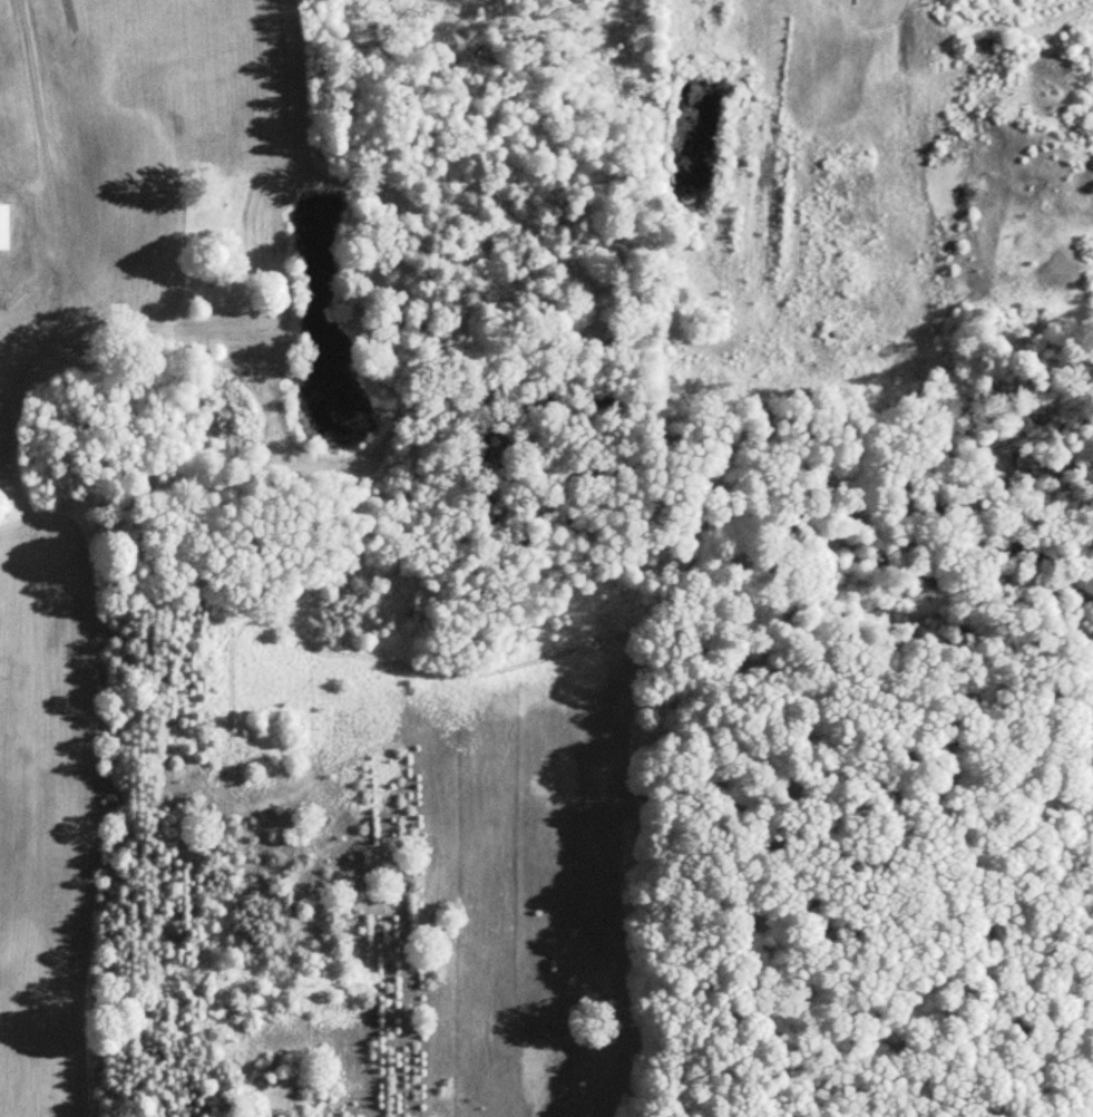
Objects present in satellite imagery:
park: (866, 184)
building: (1, 225)

